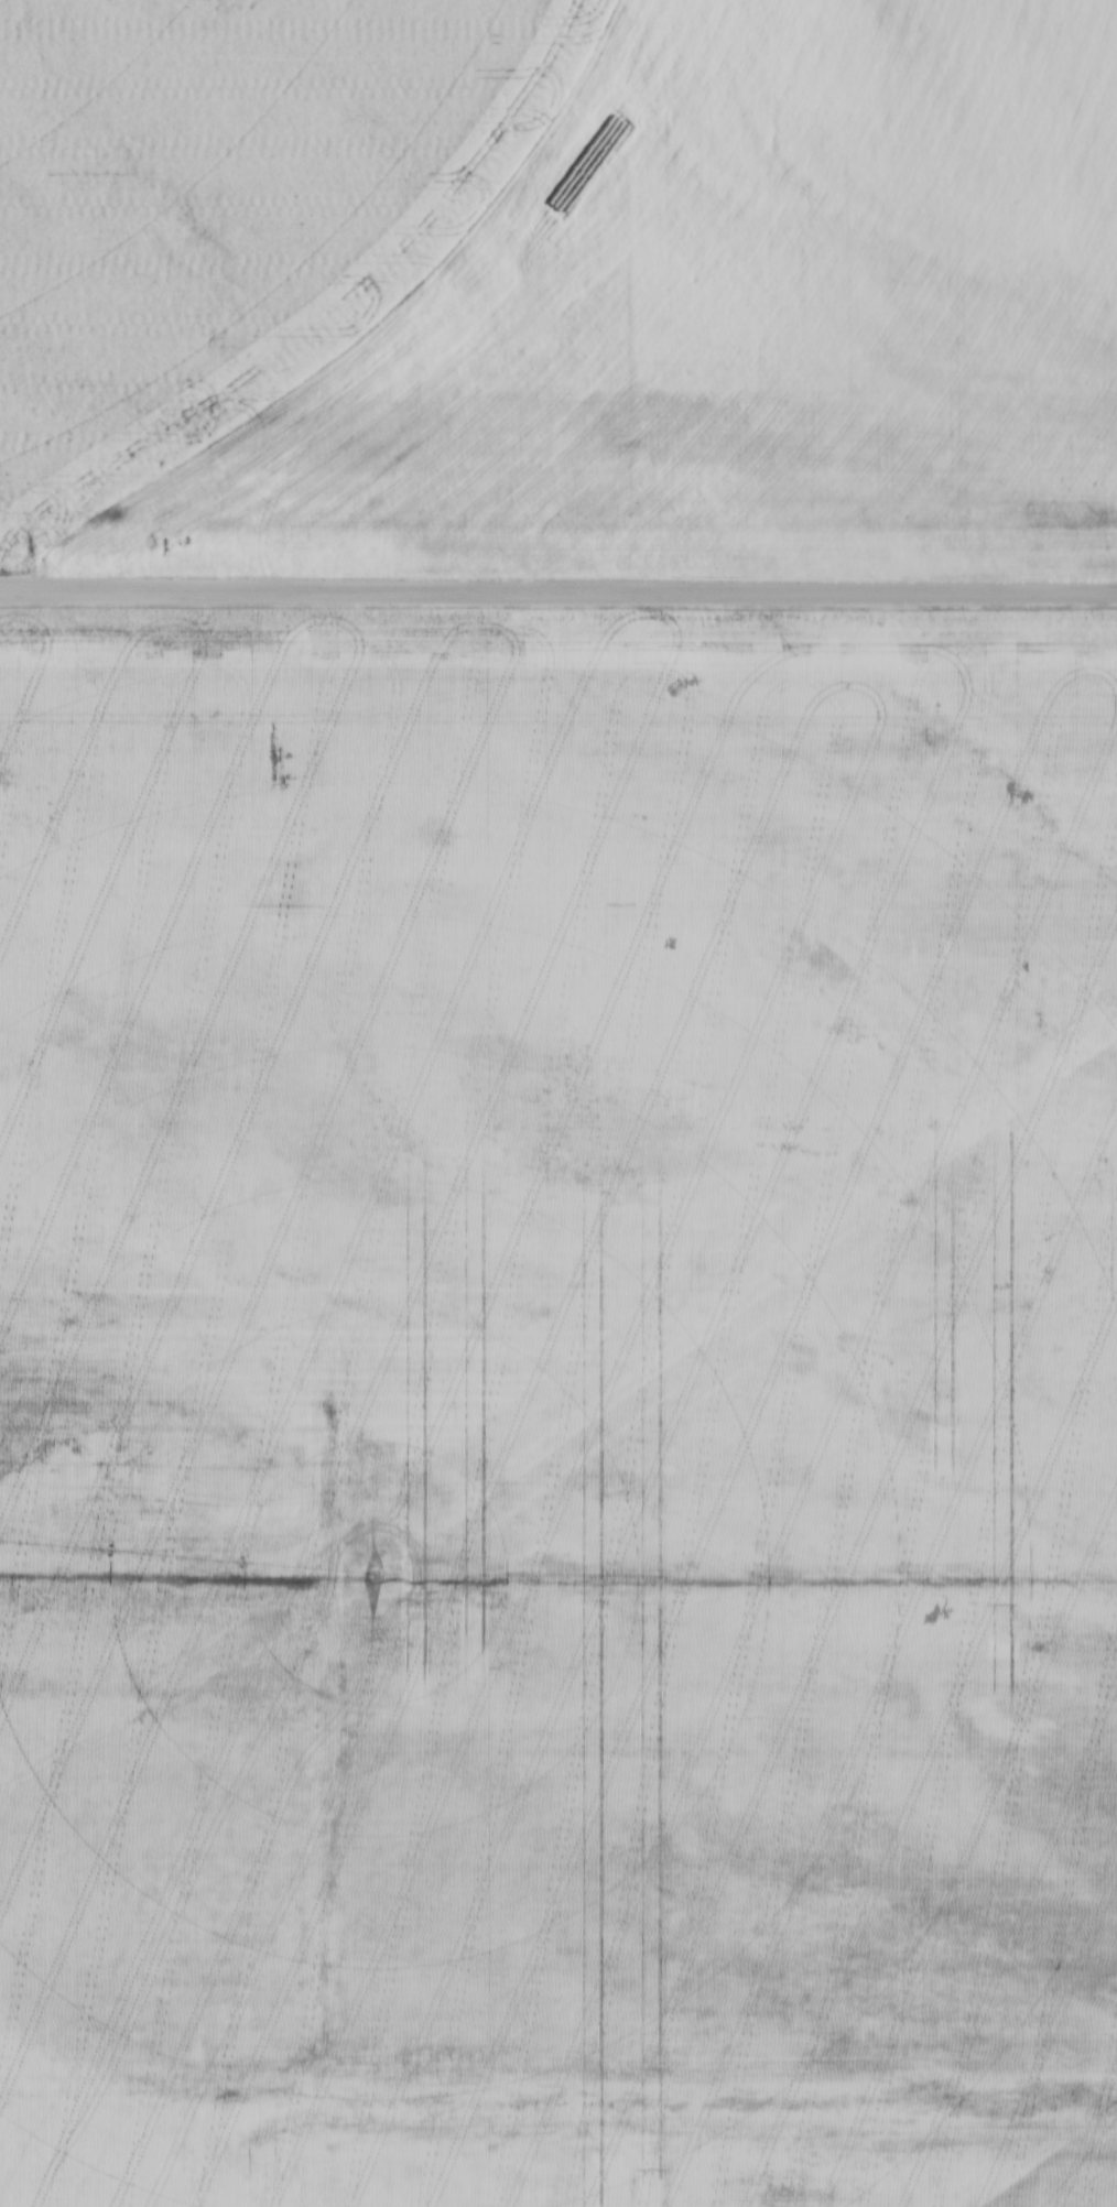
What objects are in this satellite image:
road: (557, 591)

